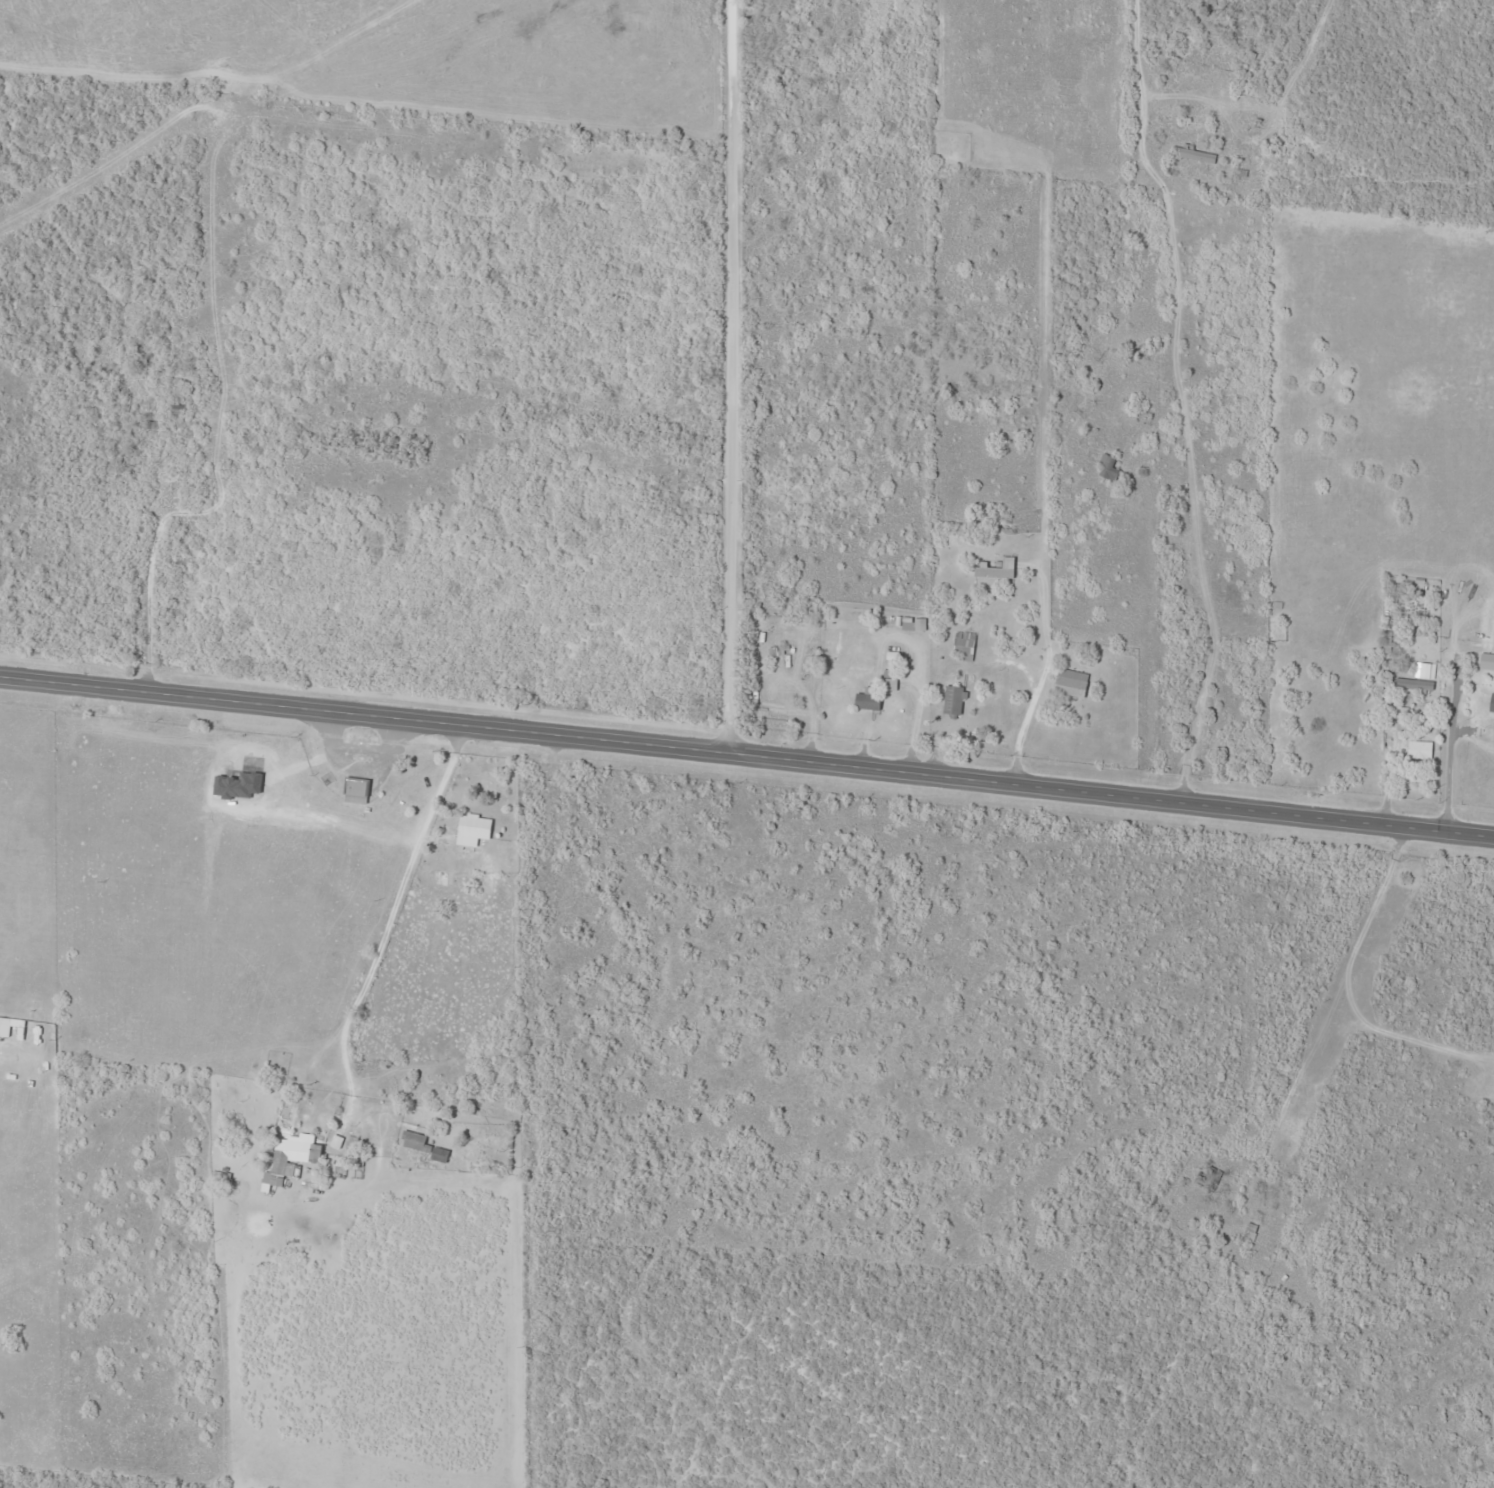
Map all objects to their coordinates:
building: (1192, 154)
road: (720, 377)
building: (1104, 466)
building: (995, 570)
building: (918, 624)
building: (963, 643)
building: (1486, 665)
building: (1070, 685)
building: (1411, 685)
building: (866, 701)
building: (952, 701)
building: (1395, 713)
building: (1418, 750)
road: (747, 756)
building: (355, 792)
building: (471, 830)
building: (433, 881)
road: (386, 886)
road: (1322, 1003)
building: (14, 1017)
road: (531, 1113)
building: (422, 1147)
building: (291, 1156)

